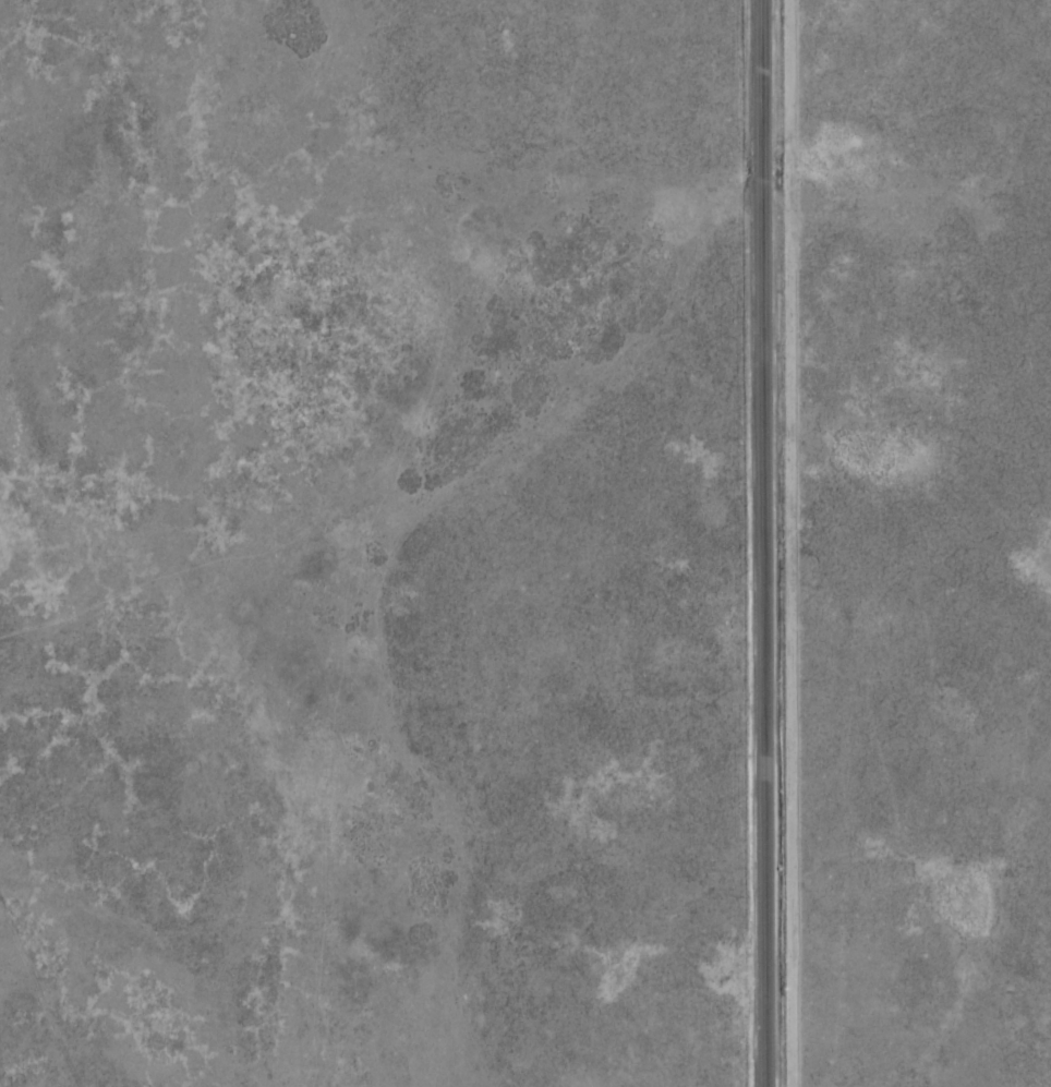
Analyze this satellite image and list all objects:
road: (766, 543)

